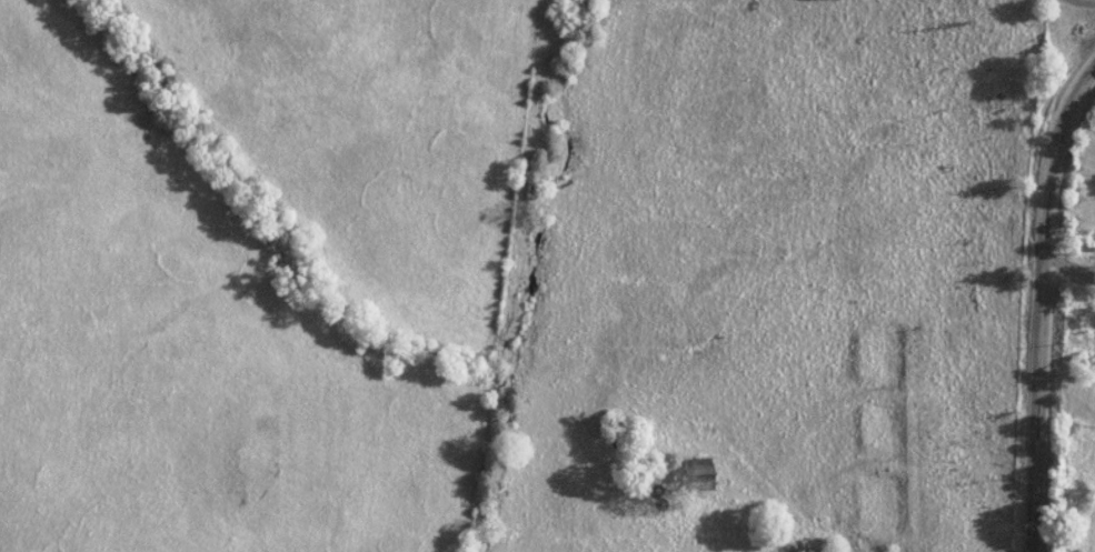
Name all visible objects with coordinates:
road: (1042, 299)
building: (695, 471)

